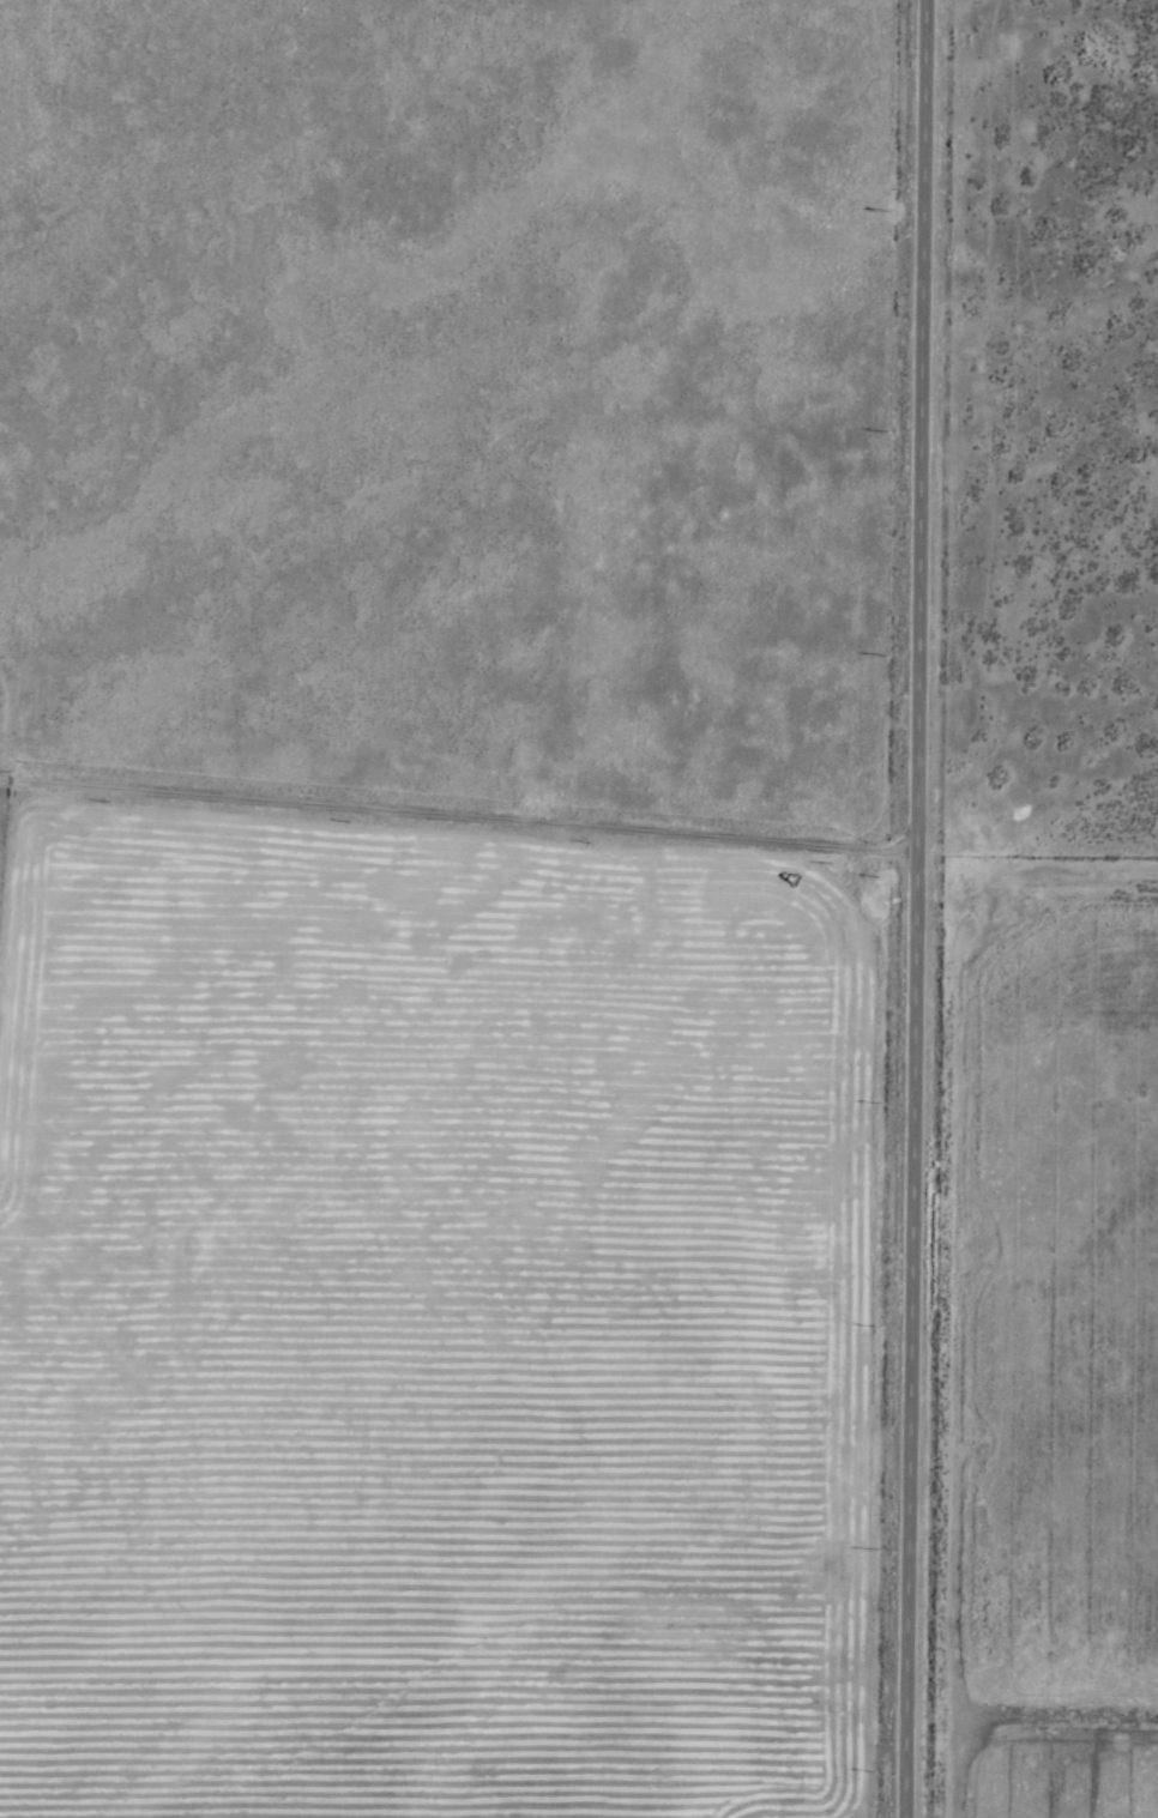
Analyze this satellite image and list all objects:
road: (456, 814)
crop: (579, 908)
road: (910, 908)

